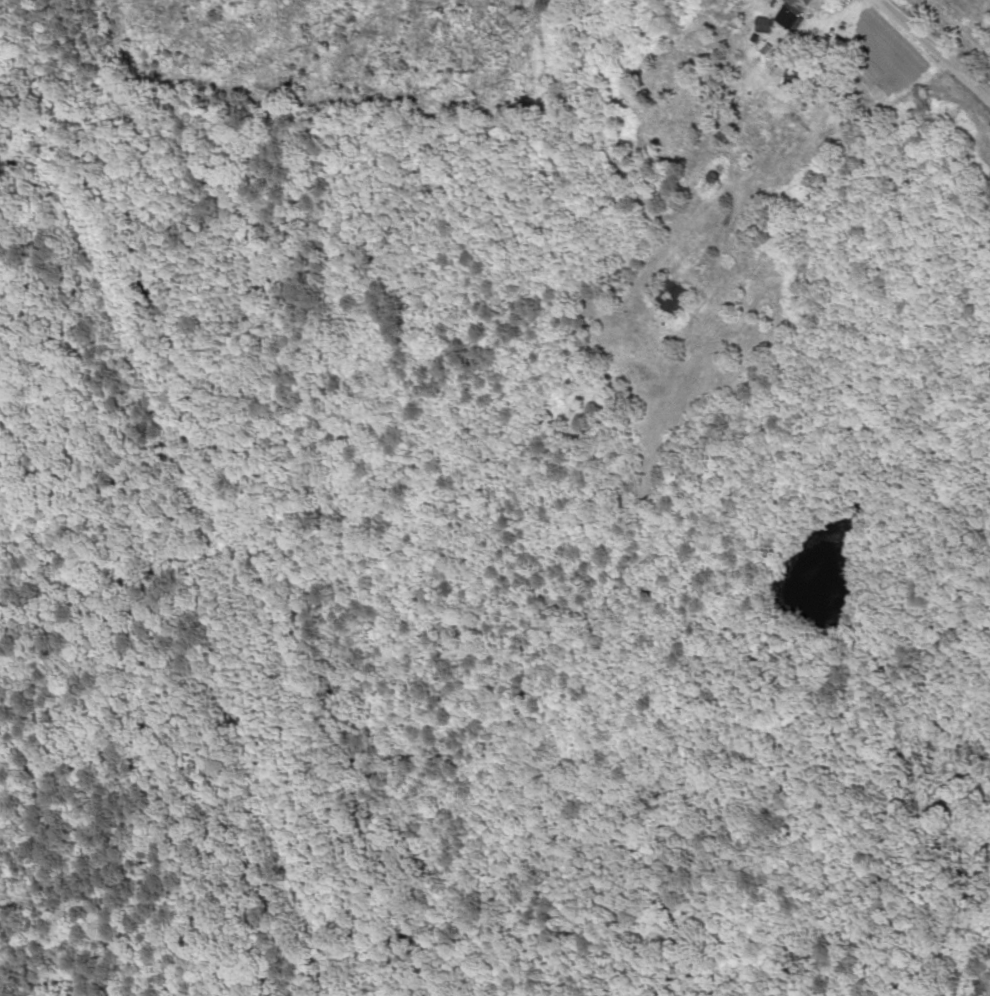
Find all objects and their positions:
building: (787, 13)
road: (936, 50)
building: (666, 296)

